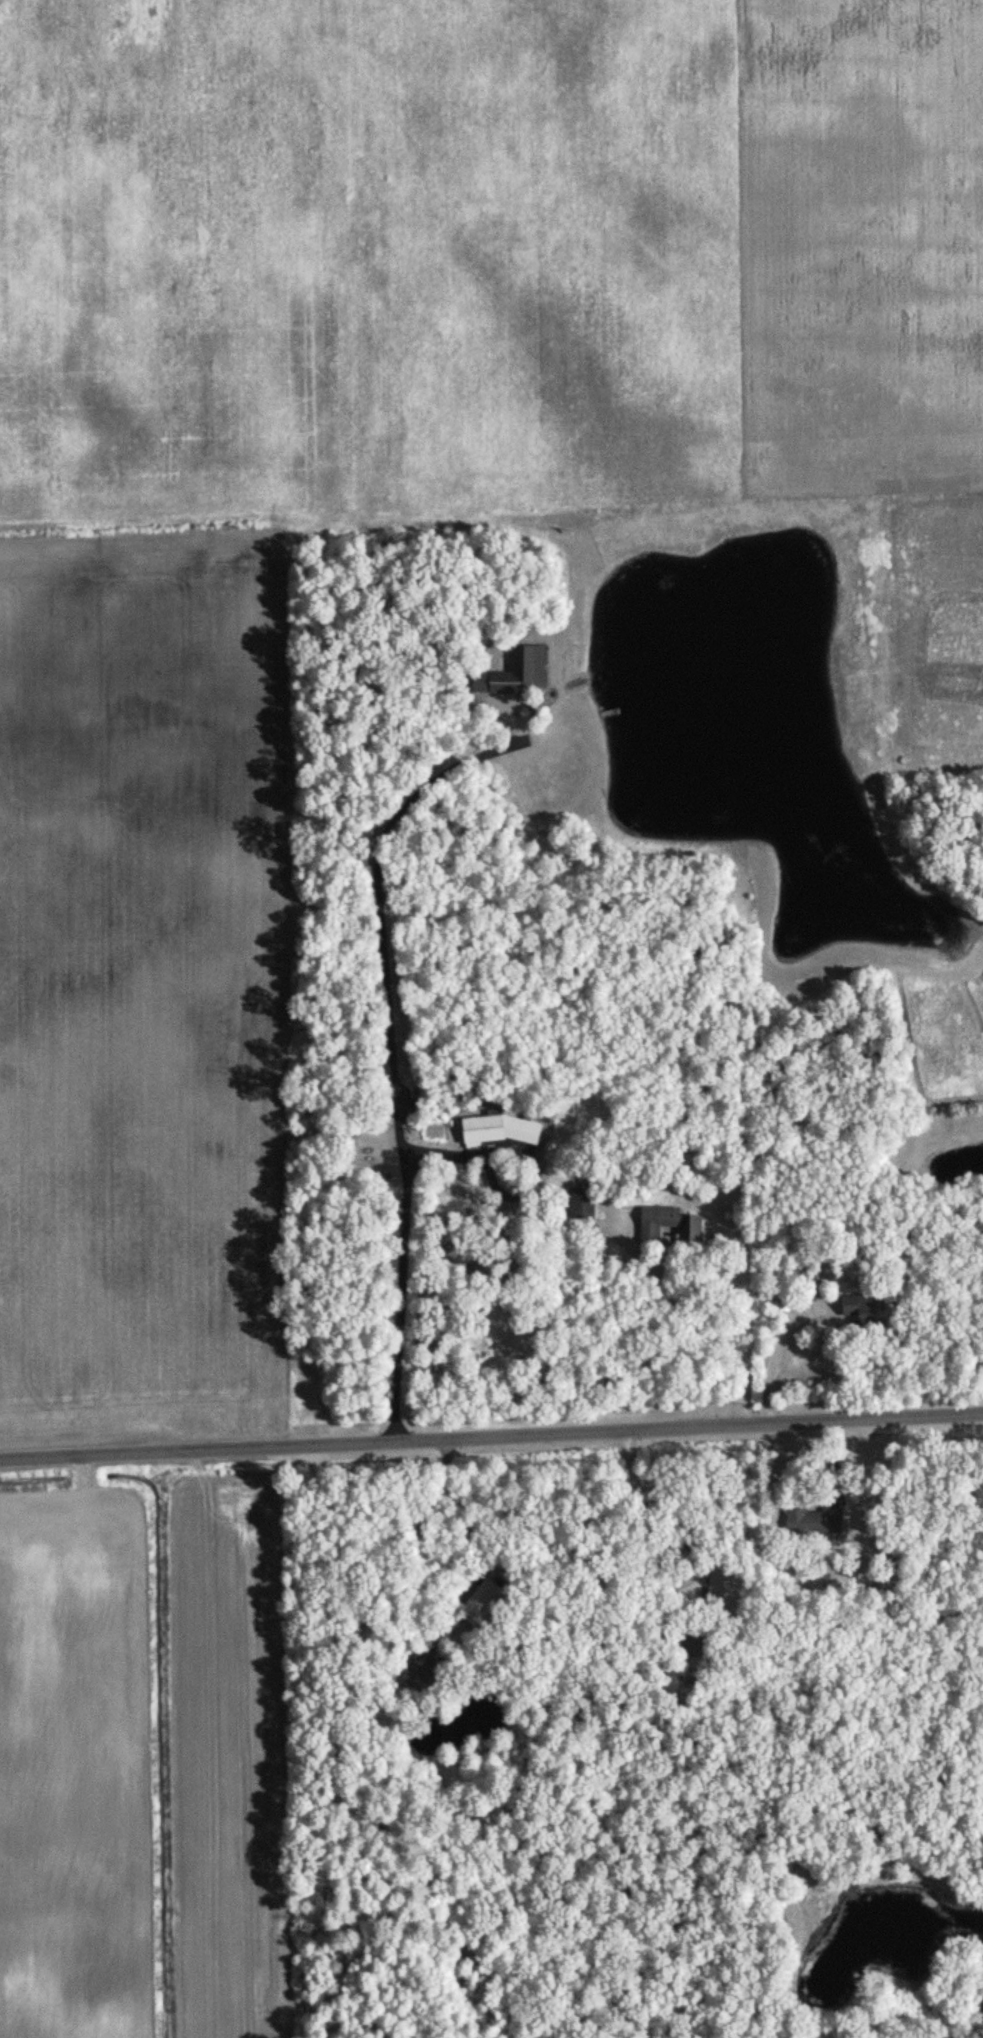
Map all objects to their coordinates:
building: (511, 674)
road: (393, 1048)
building: (497, 1130)
building: (578, 1201)
building: (656, 1223)
building: (690, 1230)
building: (850, 1308)
road: (701, 1329)
road: (773, 1357)
road: (491, 1438)
road: (641, 1499)
building: (811, 1521)
building: (473, 1603)

